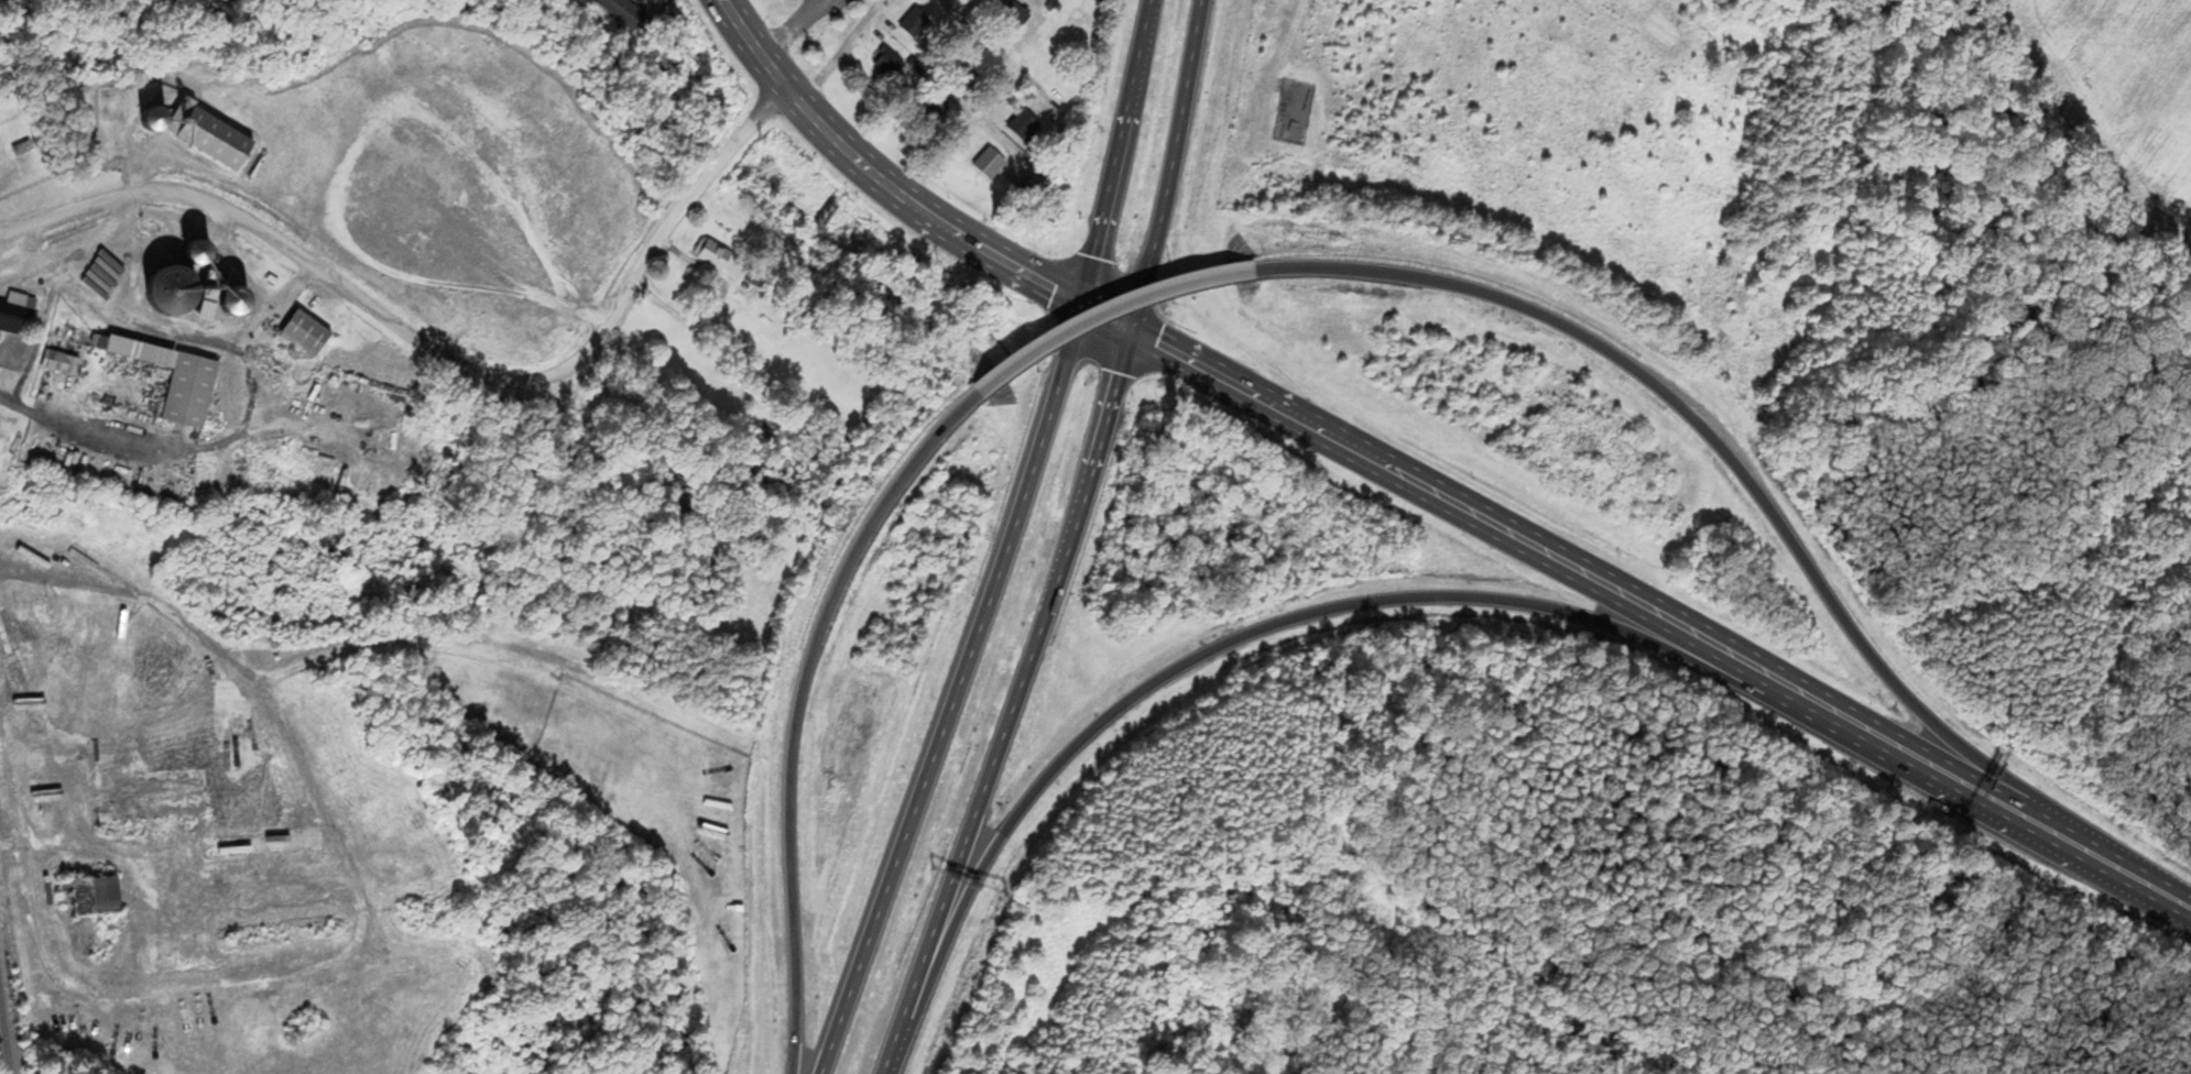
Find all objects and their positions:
building: (624, 12)
building: (1015, 15)
building: (915, 26)
road: (786, 28)
road: (841, 53)
building: (890, 66)
road: (990, 100)
road: (800, 107)
building: (1024, 127)
park: (1512, 132)
building: (207, 136)
building: (23, 150)
road: (1110, 152)
road: (1164, 165)
building: (990, 166)
road: (77, 245)
road: (985, 251)
building: (193, 252)
silo: (193, 252)
road: (237, 261)
building: (721, 261)
building: (166, 289)
silo: (166, 289)
building: (231, 300)
silo: (231, 300)
traffic signals: (1071, 305)
road: (1111, 313)
building: (8, 317)
road: (41, 317)
traffic signals: (1126, 330)
building: (302, 332)
road: (187, 338)
building: (137, 352)
road: (440, 357)
building: (51, 361)
building: (186, 391)
road: (1330, 442)
road: (172, 447)
road: (1722, 447)
building: (31, 616)
road: (1653, 620)
road: (1244, 637)
road: (1028, 657)
road: (951, 691)
road: (798, 706)
road: (1884, 746)
road: (2121, 875)
building: (99, 897)
road: (907, 1029)
railway: (3, 1039)

